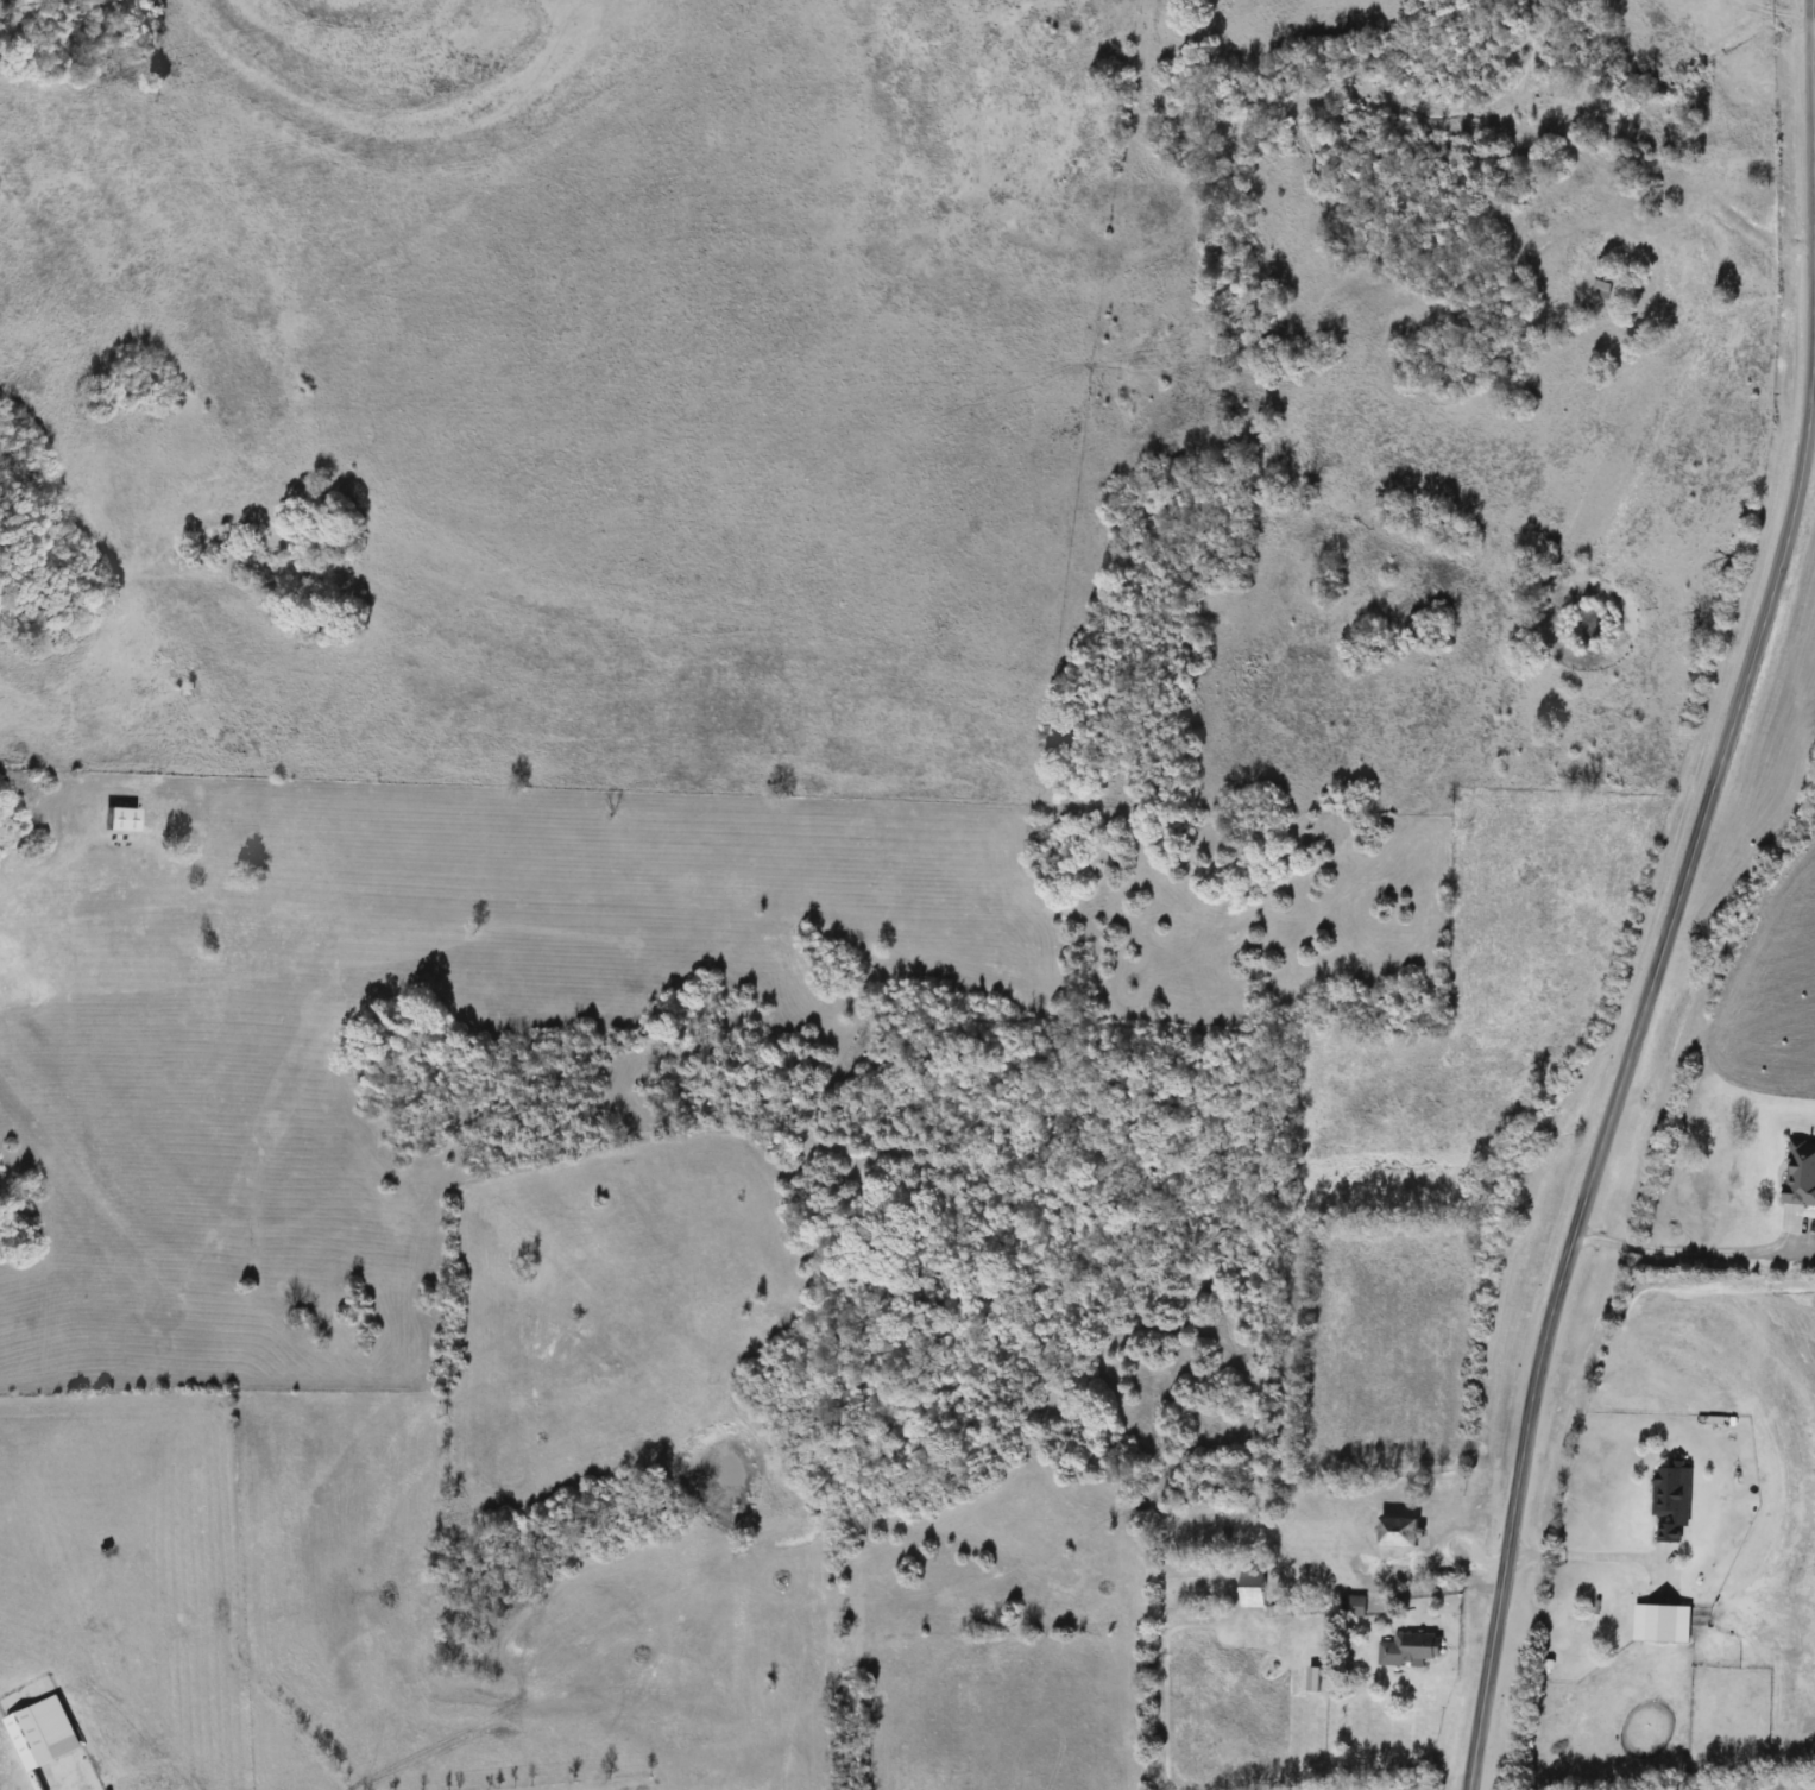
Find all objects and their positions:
road: (1814, 7)
road: (1782, 11)
building: (1605, 288)
building: (121, 821)
road: (1621, 1084)
road: (1682, 1248)
building: (1674, 1501)
building: (1400, 1533)
road: (1586, 1550)
building: (1254, 1589)
building: (1354, 1607)
building: (1663, 1624)
building: (1410, 1651)
building: (1315, 1679)
building: (44, 1734)

